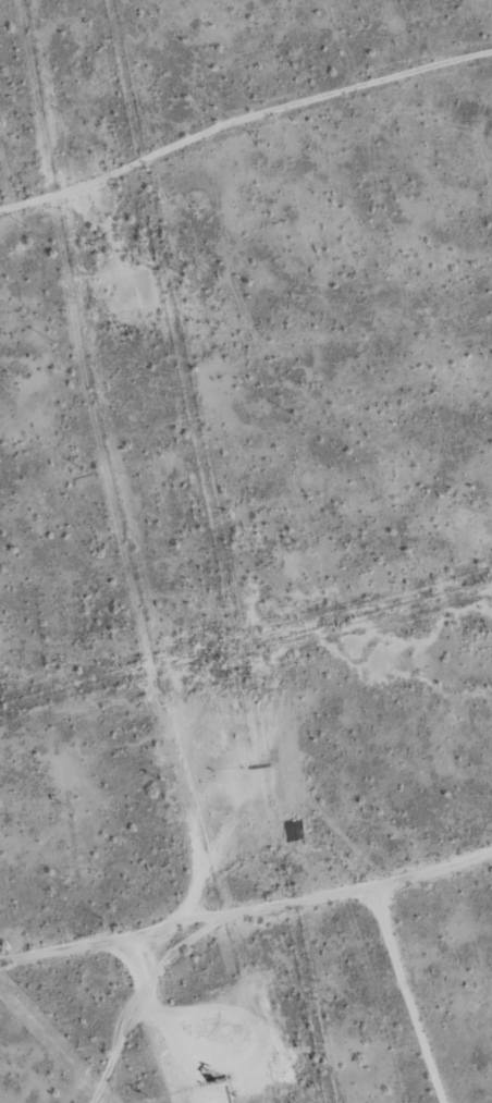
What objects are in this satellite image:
road: (246, 881)

